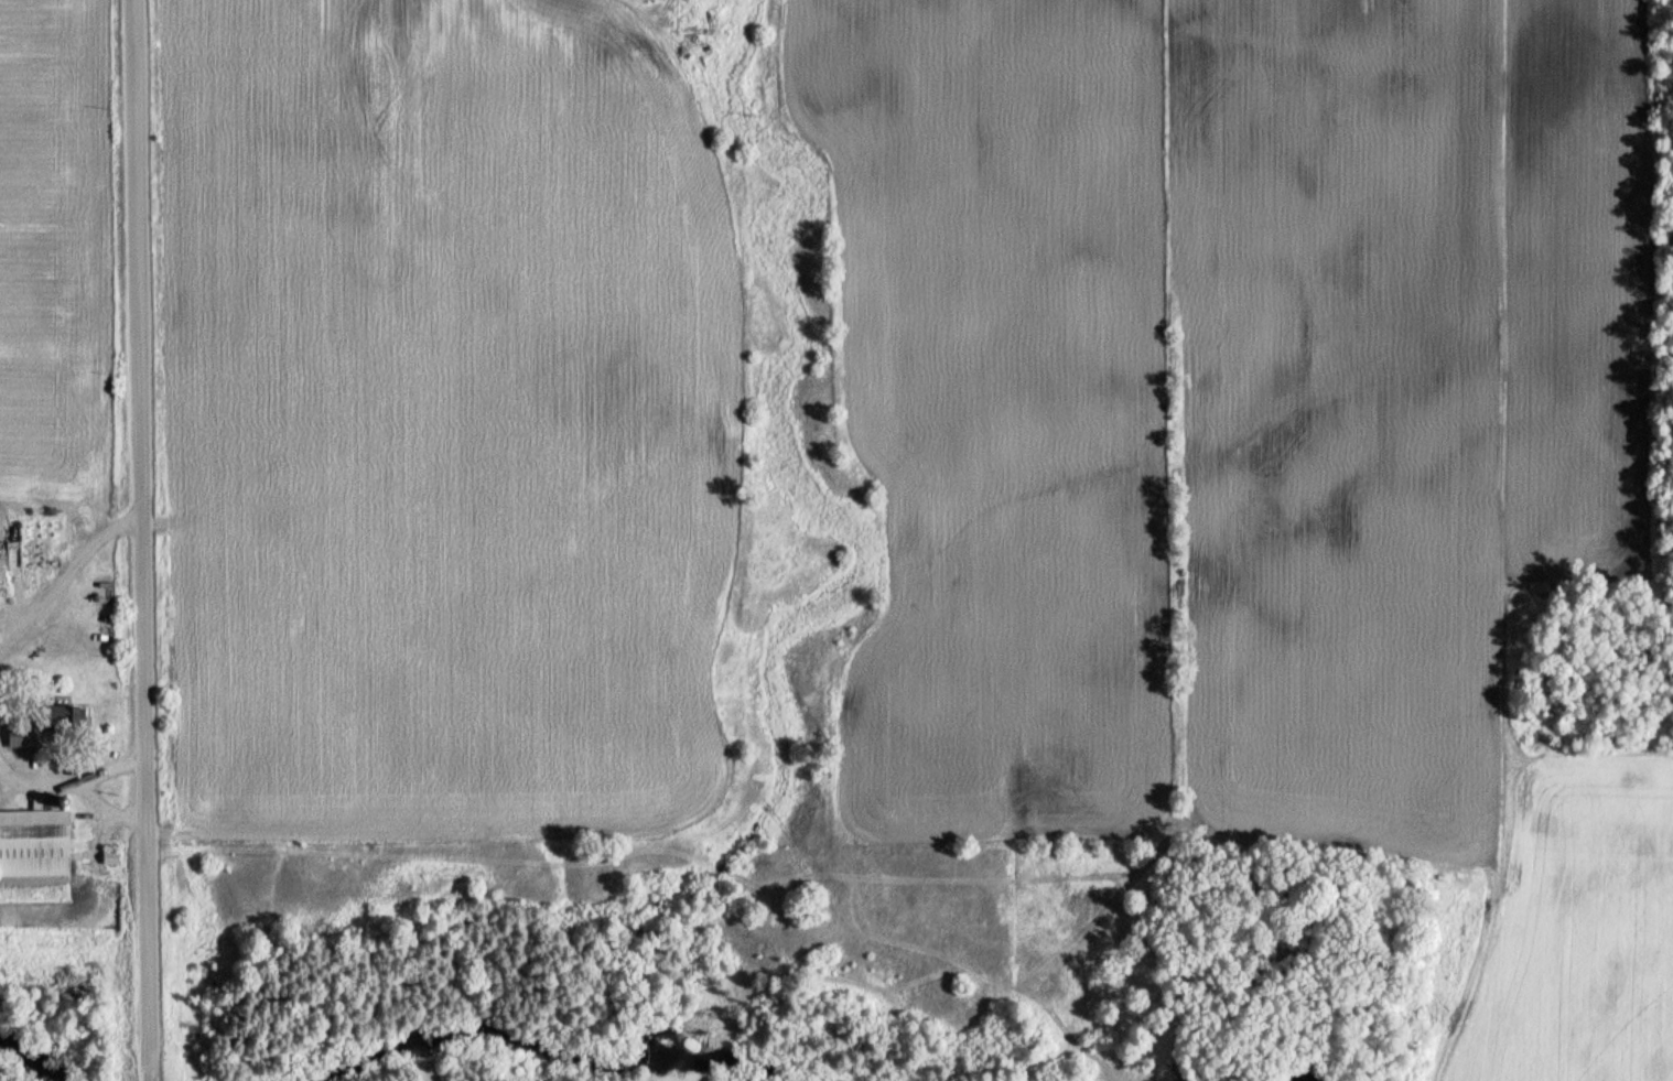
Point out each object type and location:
road: (142, 540)
road: (62, 570)
building: (23, 735)
road: (26, 758)
road: (28, 774)
road: (71, 778)
road: (106, 808)
road: (98, 833)
building: (32, 841)
river: (553, 1048)
river: (31, 1058)

